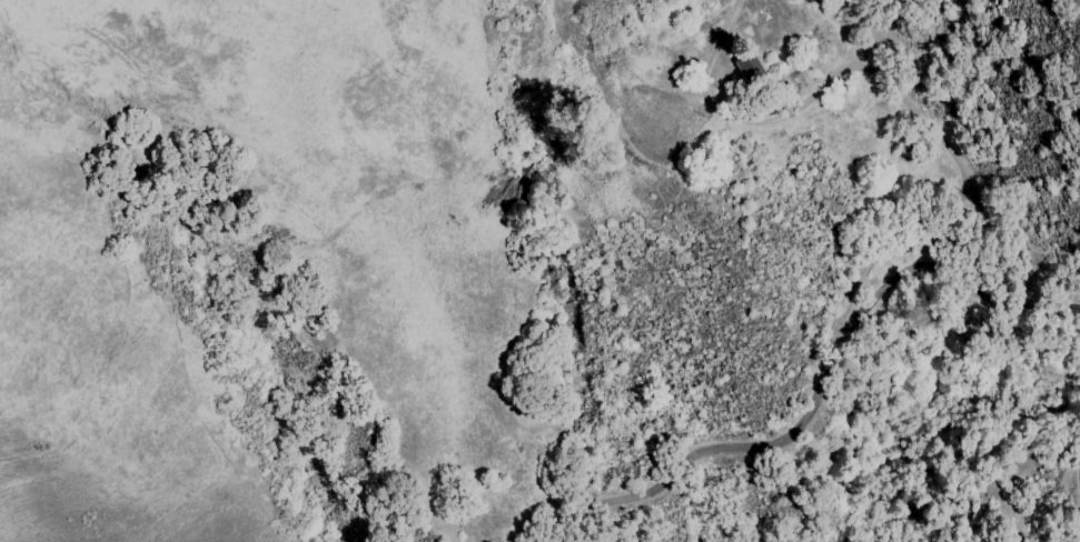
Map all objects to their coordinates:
building: (747, 68)
road: (912, 110)
road: (925, 274)
road: (684, 460)
road: (1077, 526)

